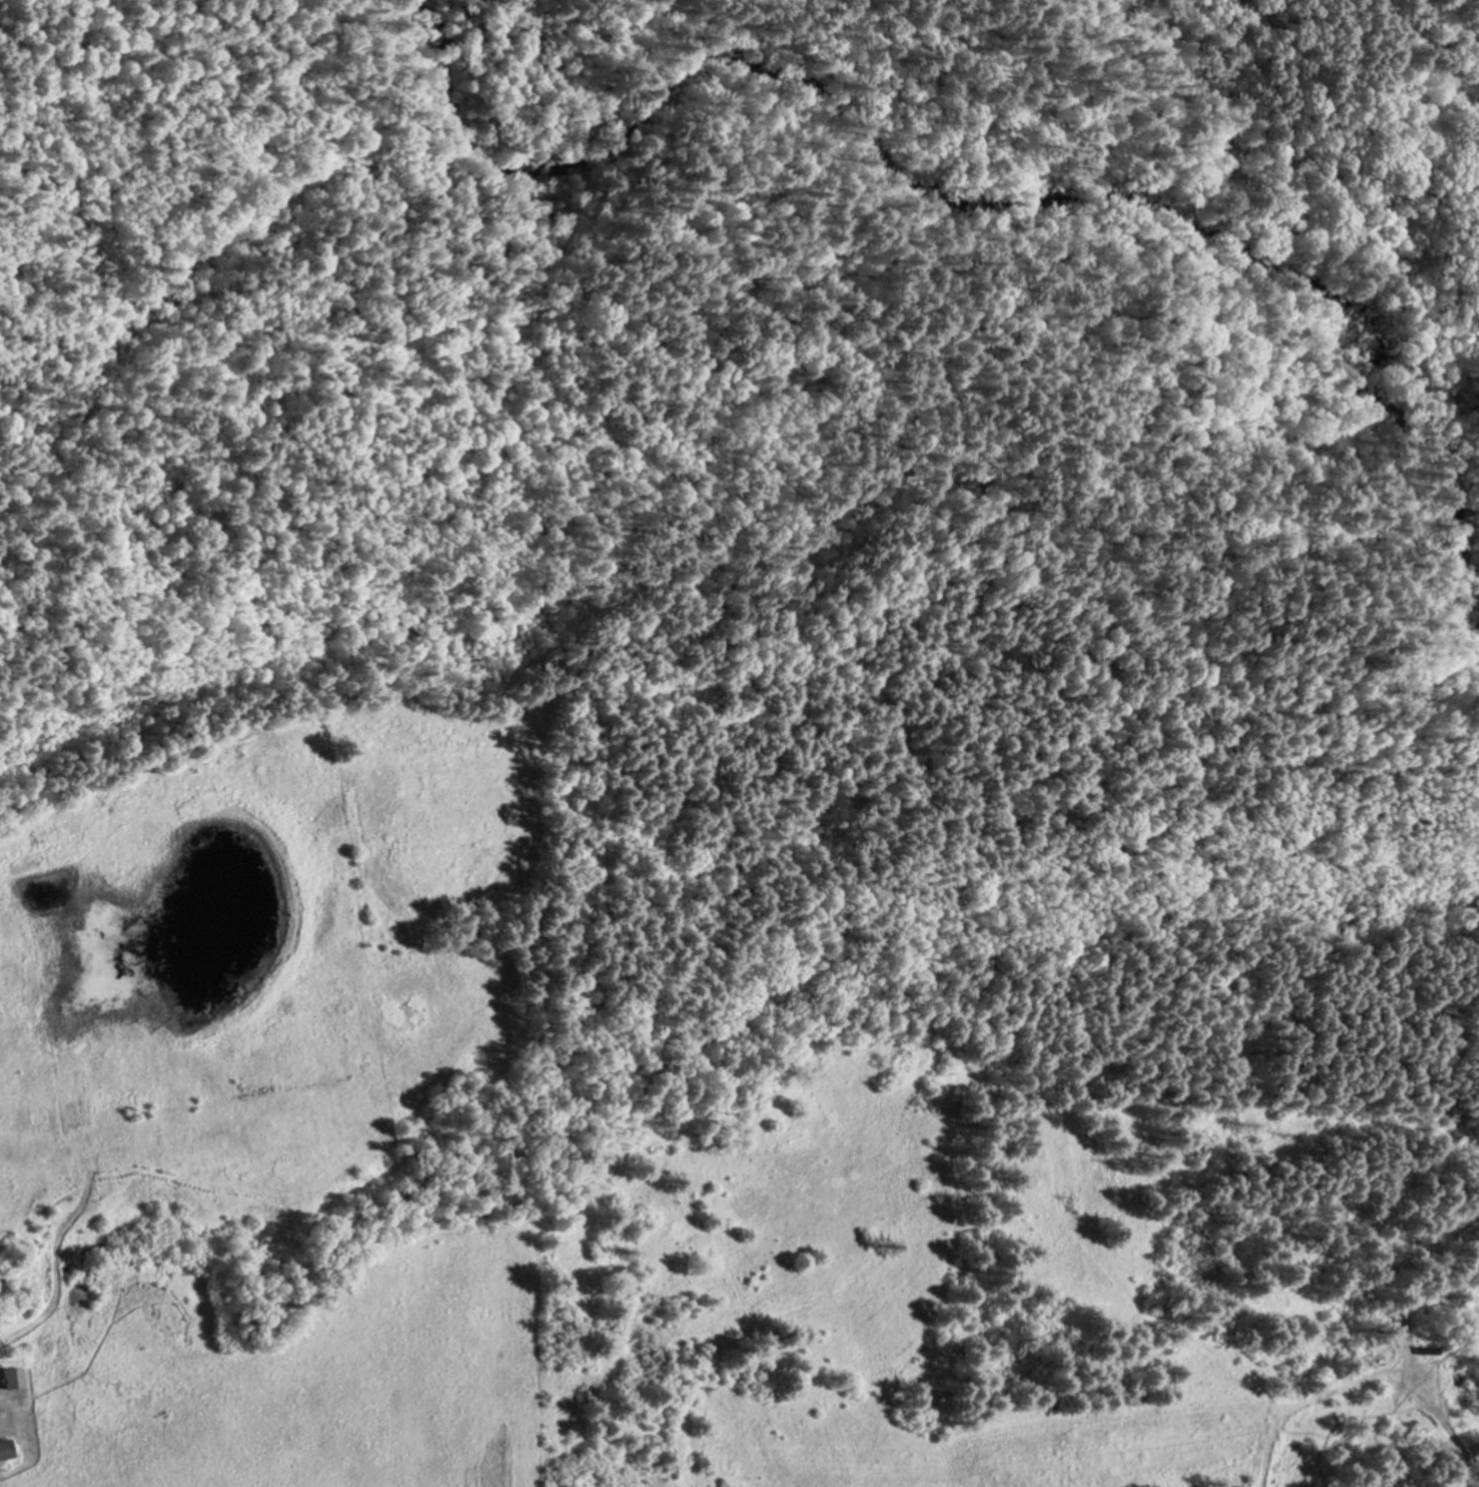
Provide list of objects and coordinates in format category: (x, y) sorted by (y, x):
building: (6, 1362)
building: (13, 1378)
building: (6, 1449)

